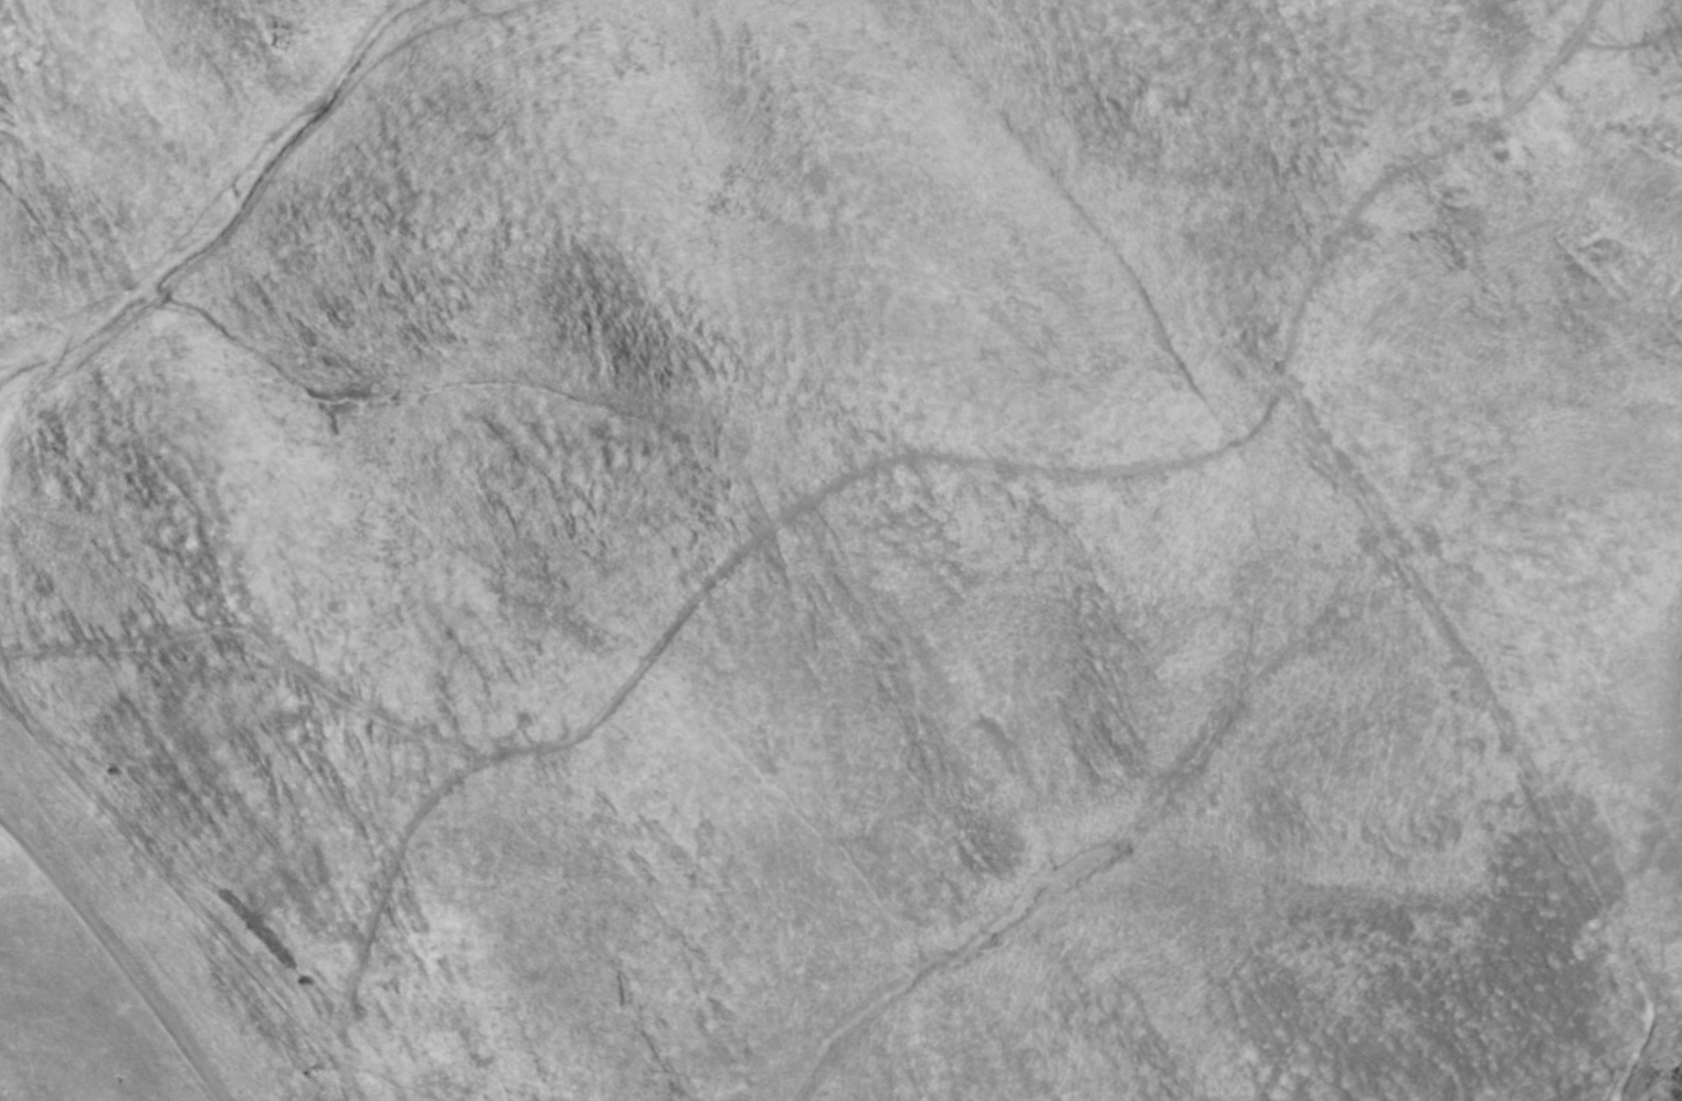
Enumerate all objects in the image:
road: (129, 956)

